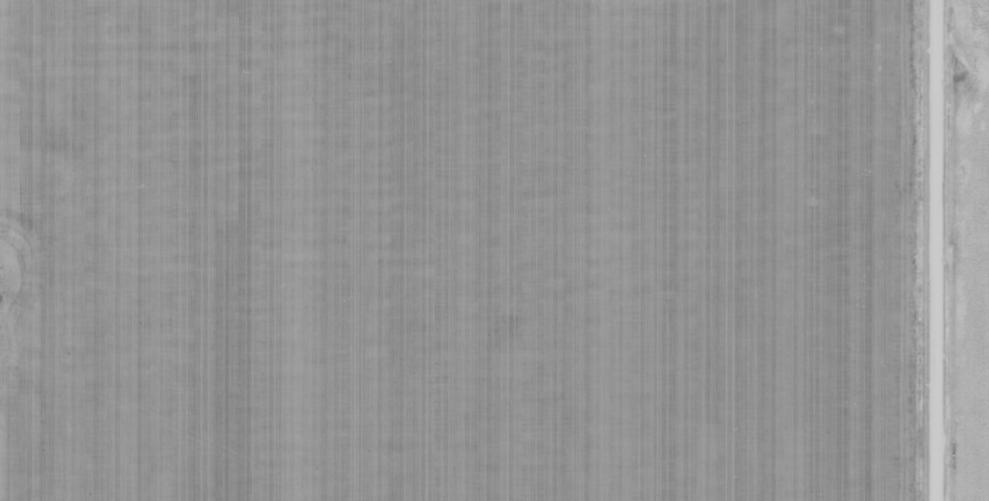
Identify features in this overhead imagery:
road: (935, 250)

